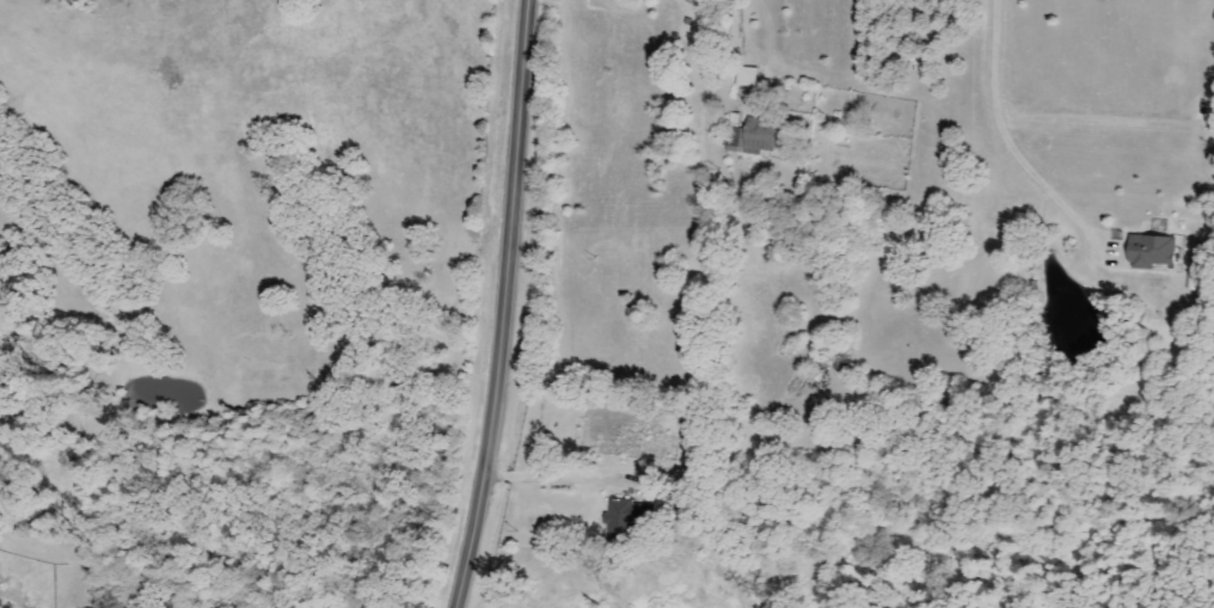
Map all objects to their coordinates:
road: (740, 27)
building: (746, 78)
road: (1003, 134)
building: (752, 137)
building: (1149, 250)
road: (505, 305)
road: (558, 478)
building: (623, 515)

